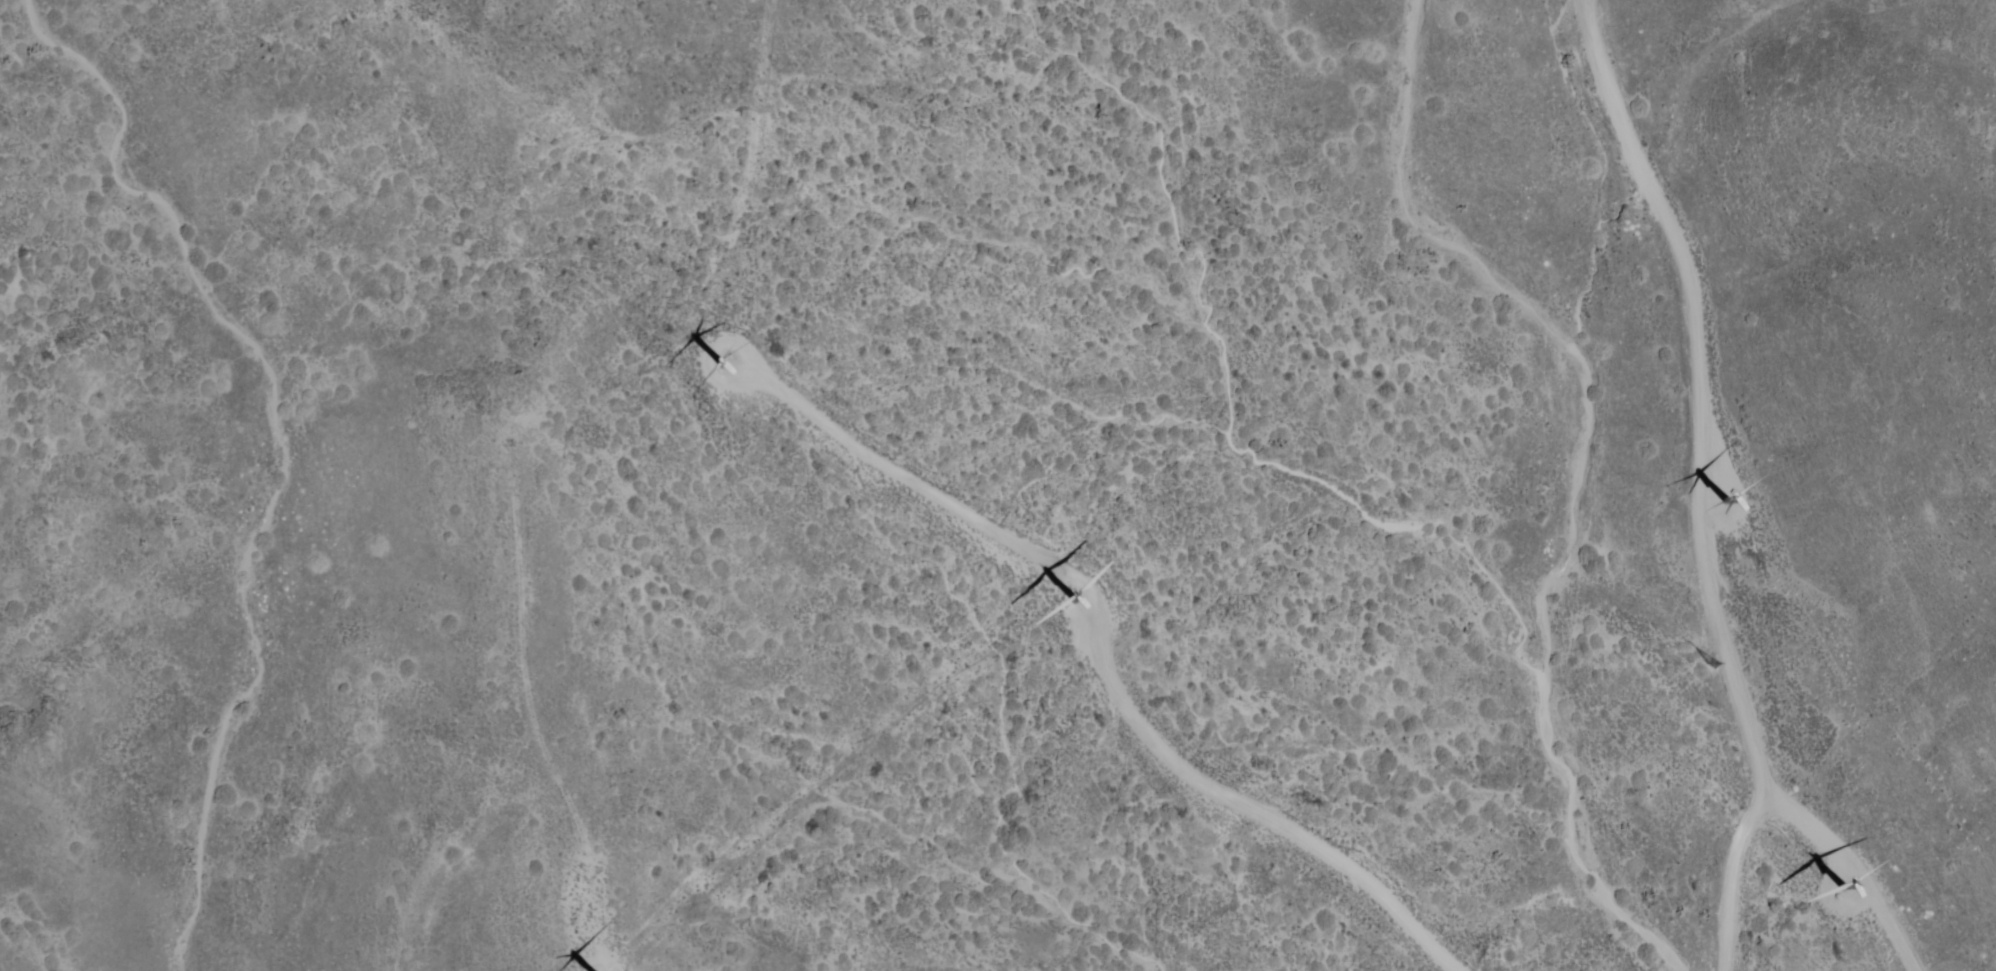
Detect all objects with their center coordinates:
road: (1572, 3)
wind turbine: (723, 365)
road: (1699, 395)
wind turbine: (1731, 500)
wind turbine: (1077, 598)
road: (1106, 674)
road: (1790, 814)
wind turbine: (1841, 886)

